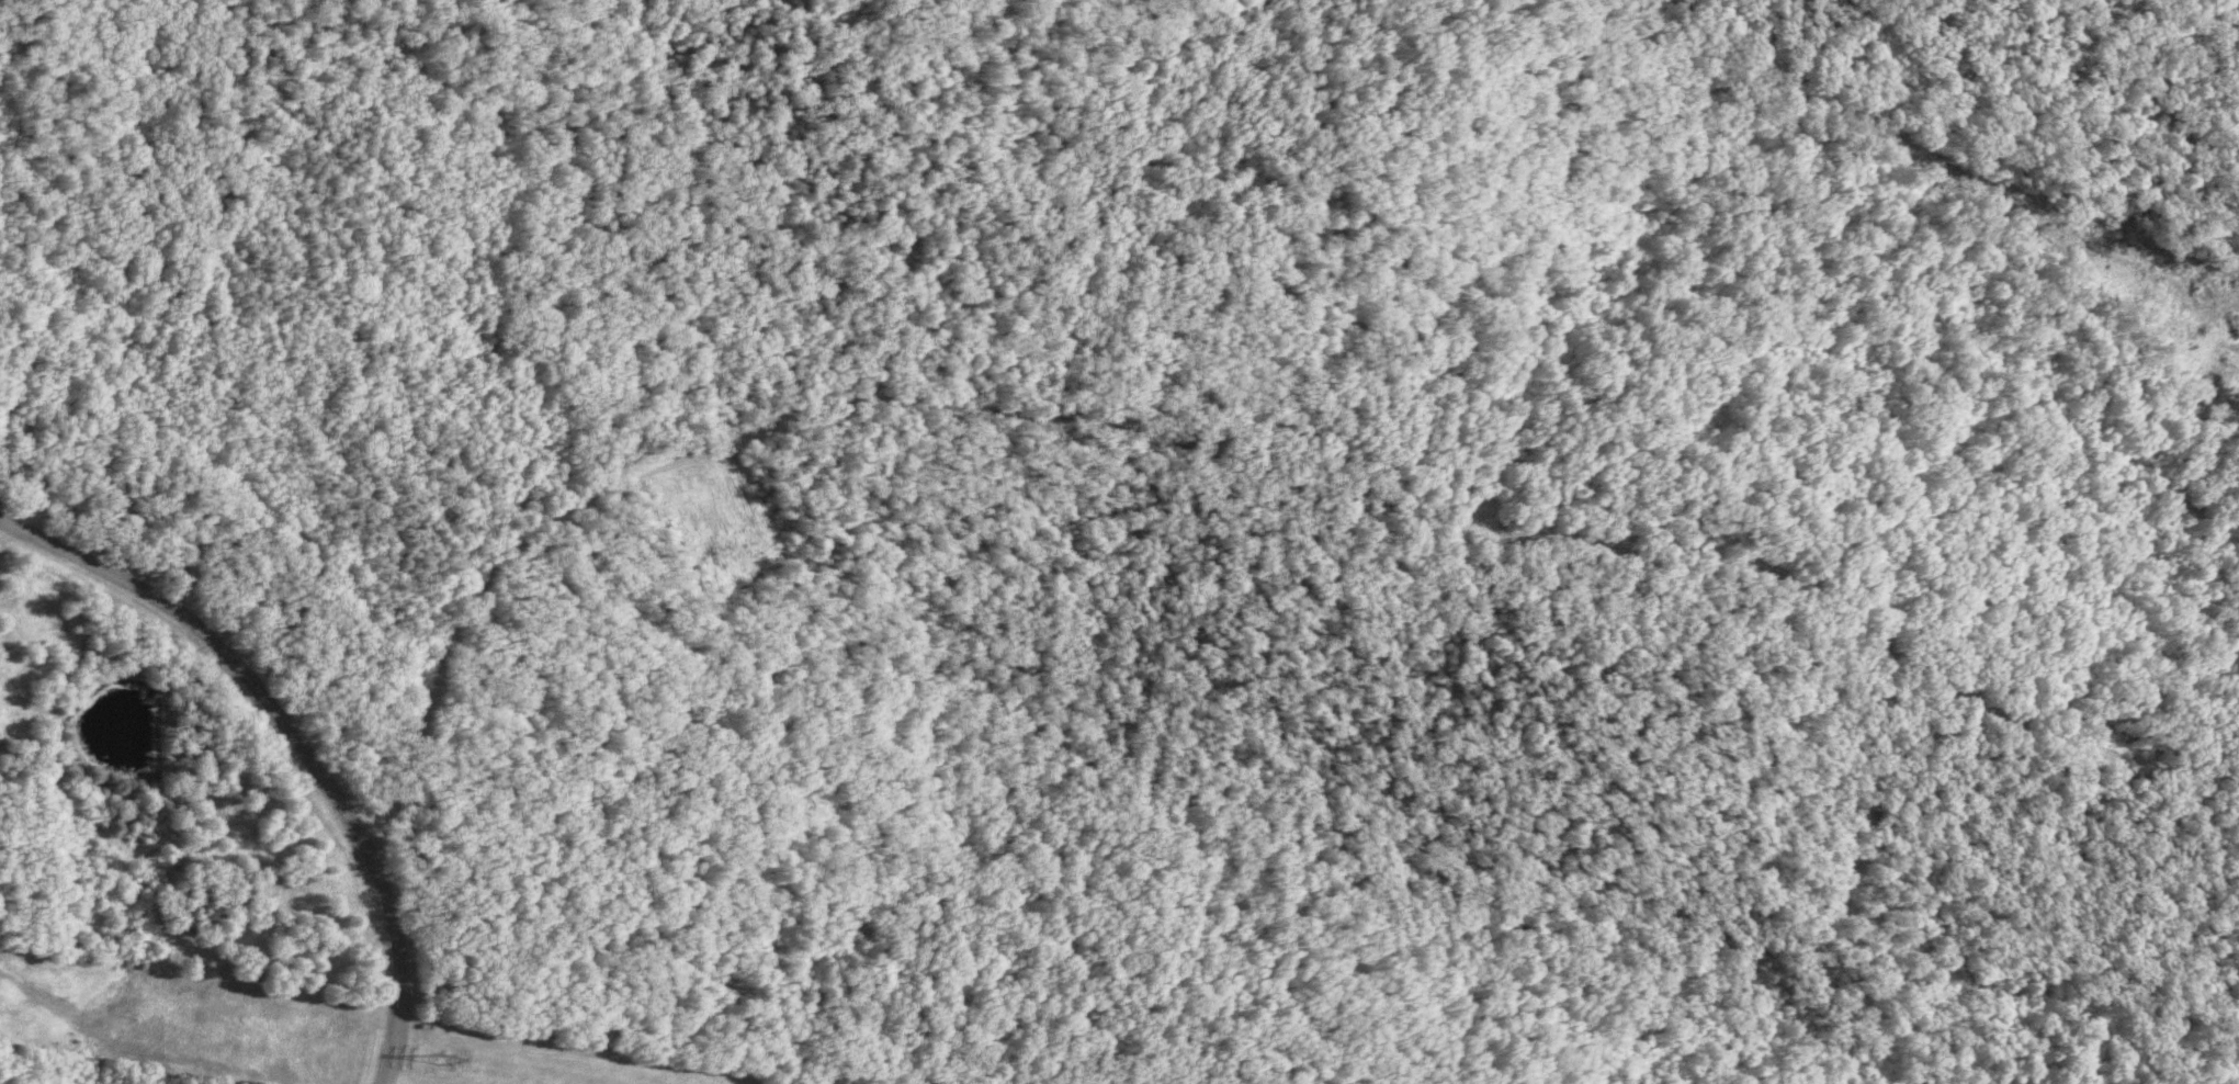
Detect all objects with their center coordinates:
road: (5, 538)
road: (8, 674)
road: (297, 738)
road: (283, 862)

